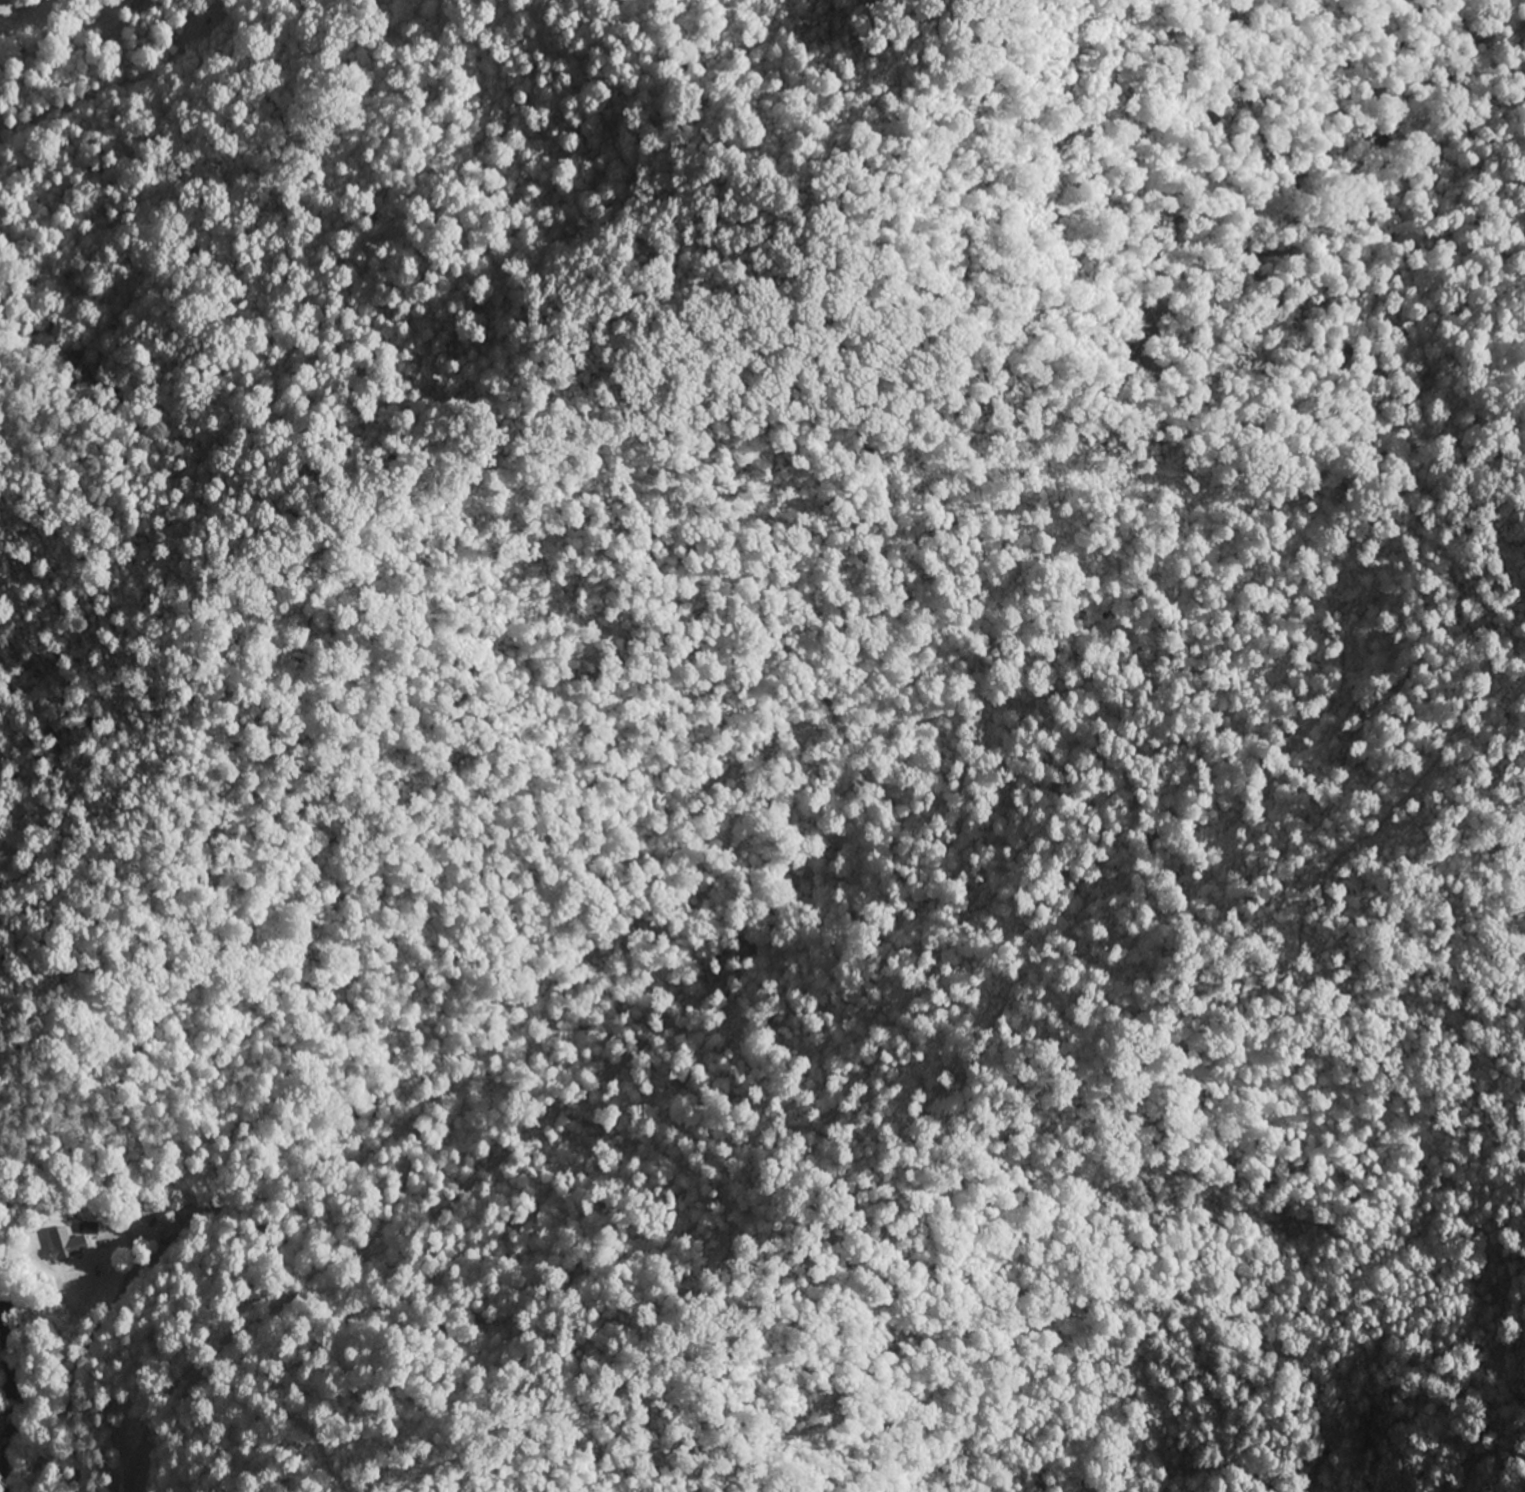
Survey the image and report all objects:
building: (168, 1229)
building: (70, 1243)

